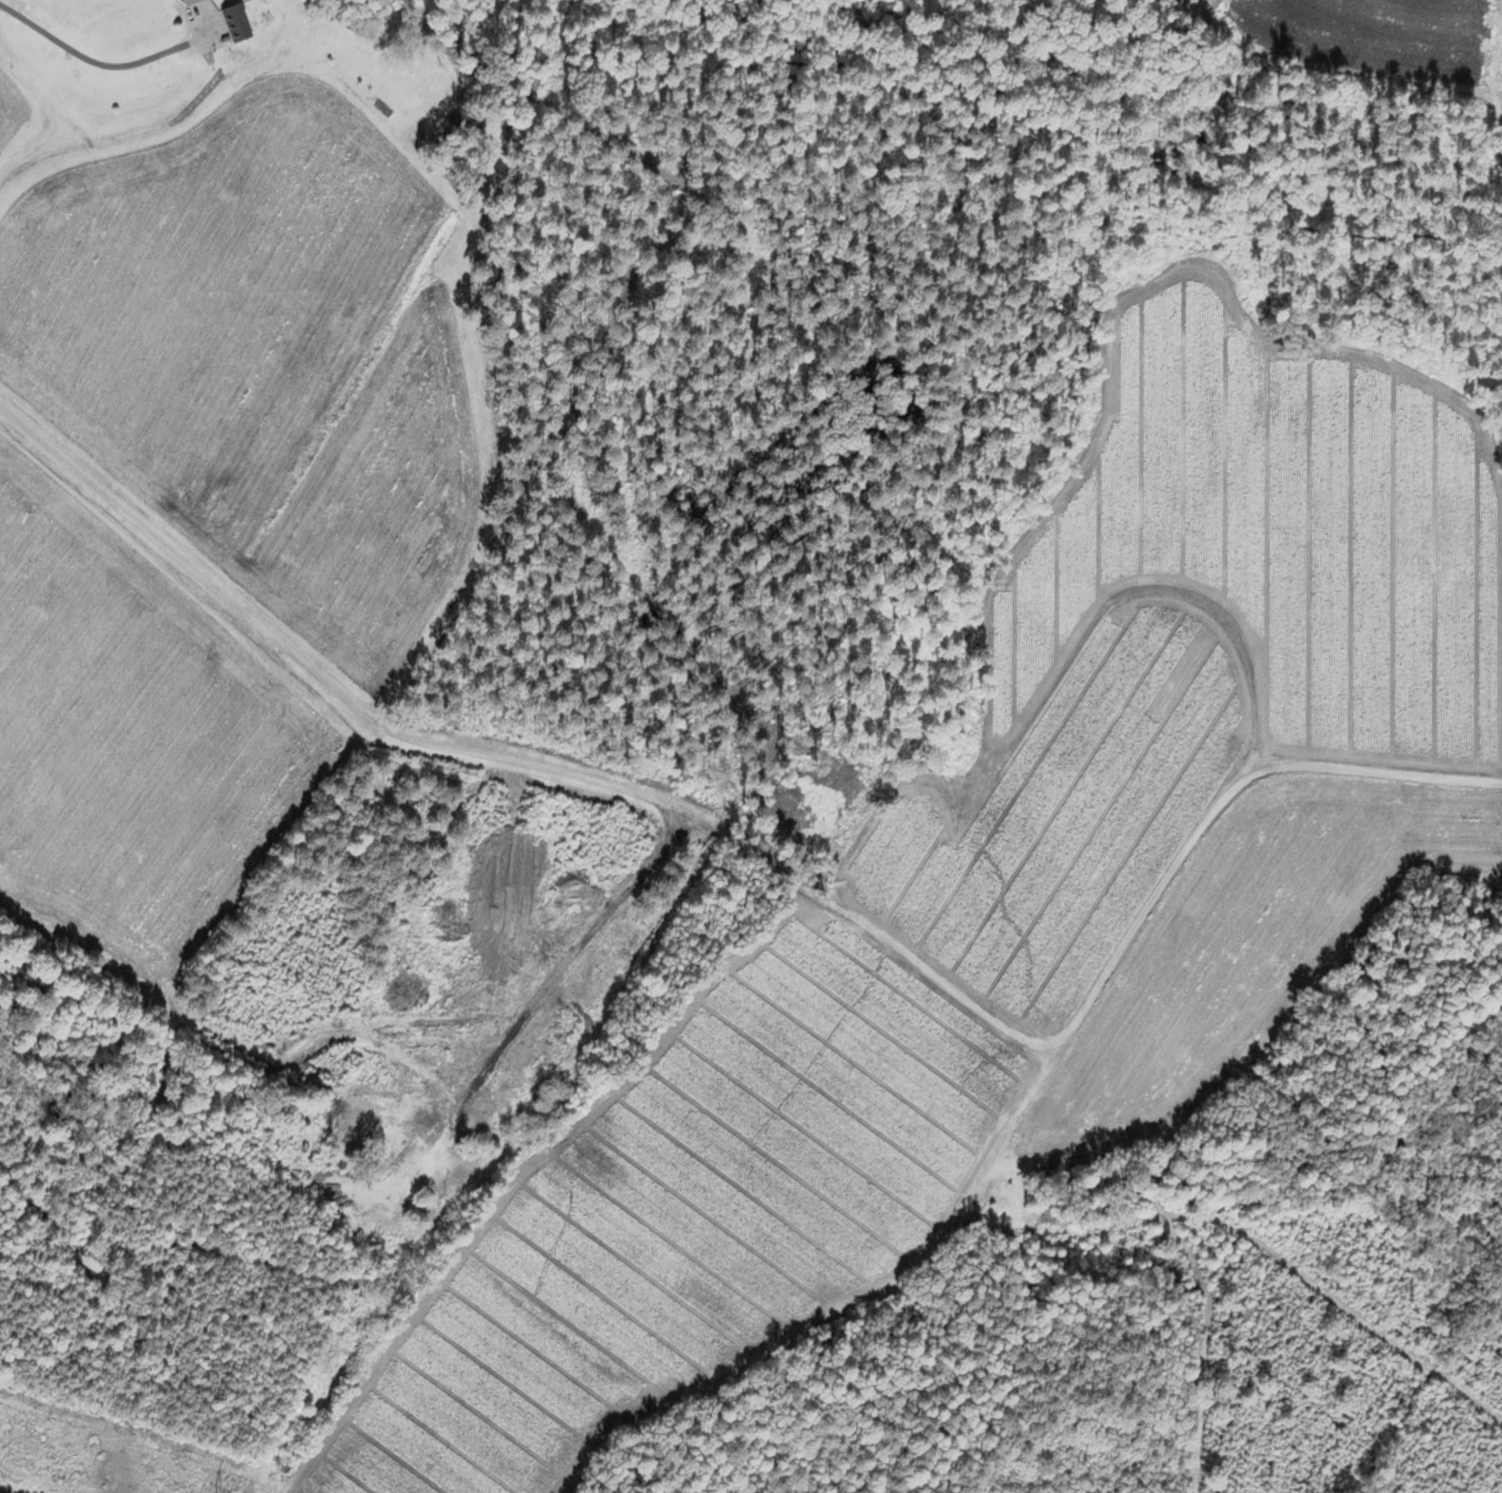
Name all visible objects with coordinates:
building: (188, 0)
road: (89, 58)
road: (774, 866)
power tower: (197, 1492)

